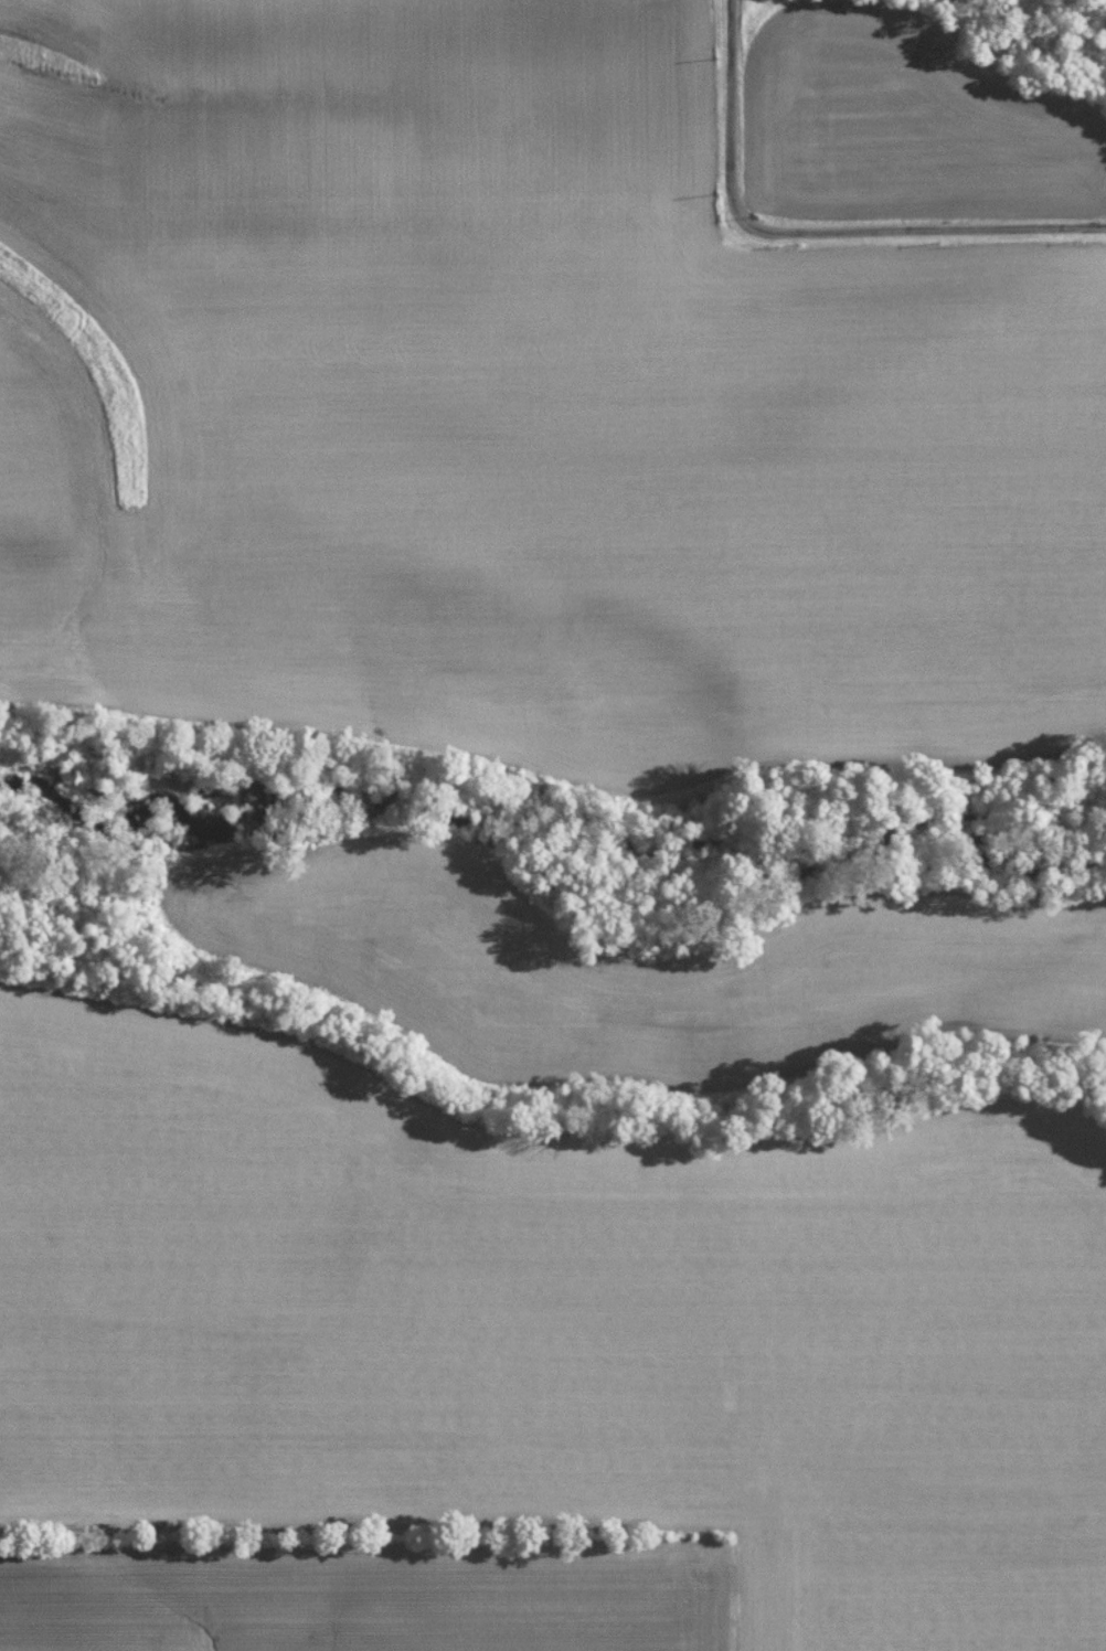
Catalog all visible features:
road: (811, 232)

